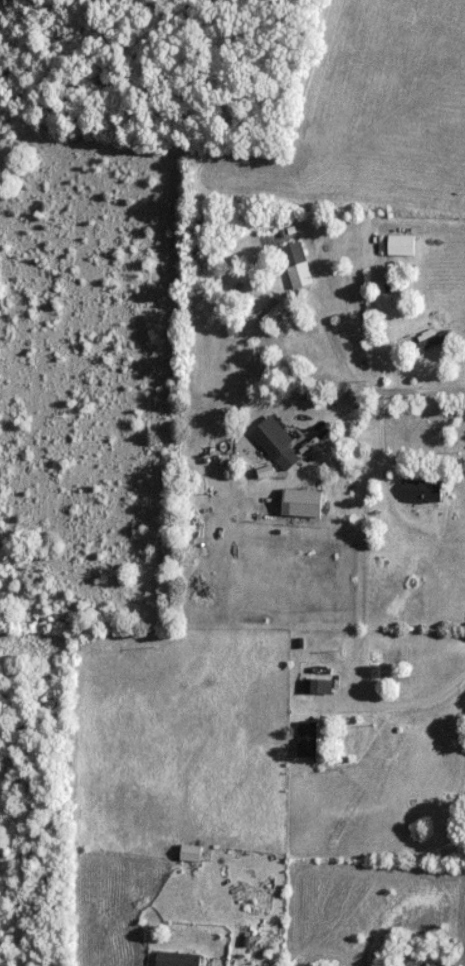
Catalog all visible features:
building: (400, 246)
building: (297, 266)
building: (275, 311)
road: (350, 385)
building: (268, 434)
building: (287, 460)
building: (421, 492)
road: (393, 493)
building: (301, 504)
building: (317, 687)
road: (408, 708)
building: (306, 740)
building: (189, 854)
building: (182, 960)

